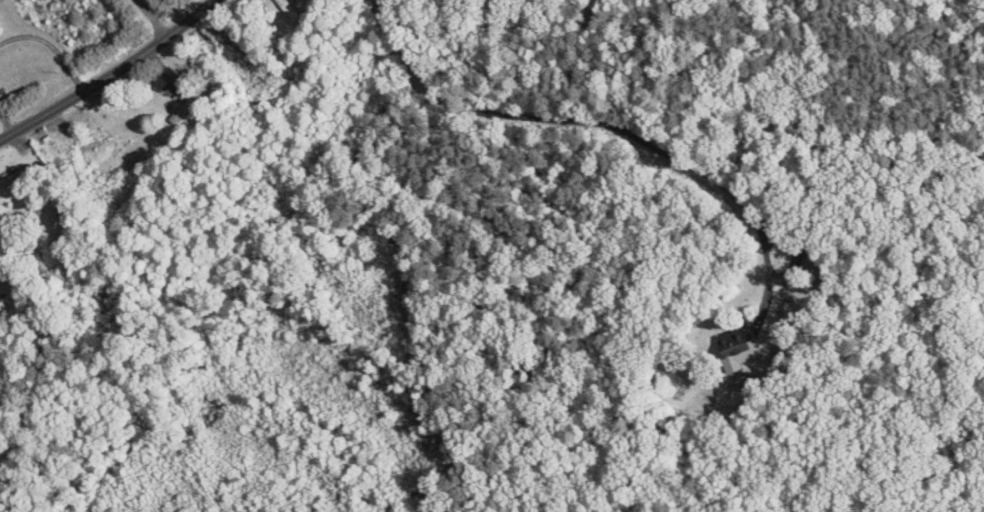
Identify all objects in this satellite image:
building: (280, 6)
road: (101, 68)
road: (622, 126)
building: (731, 338)

